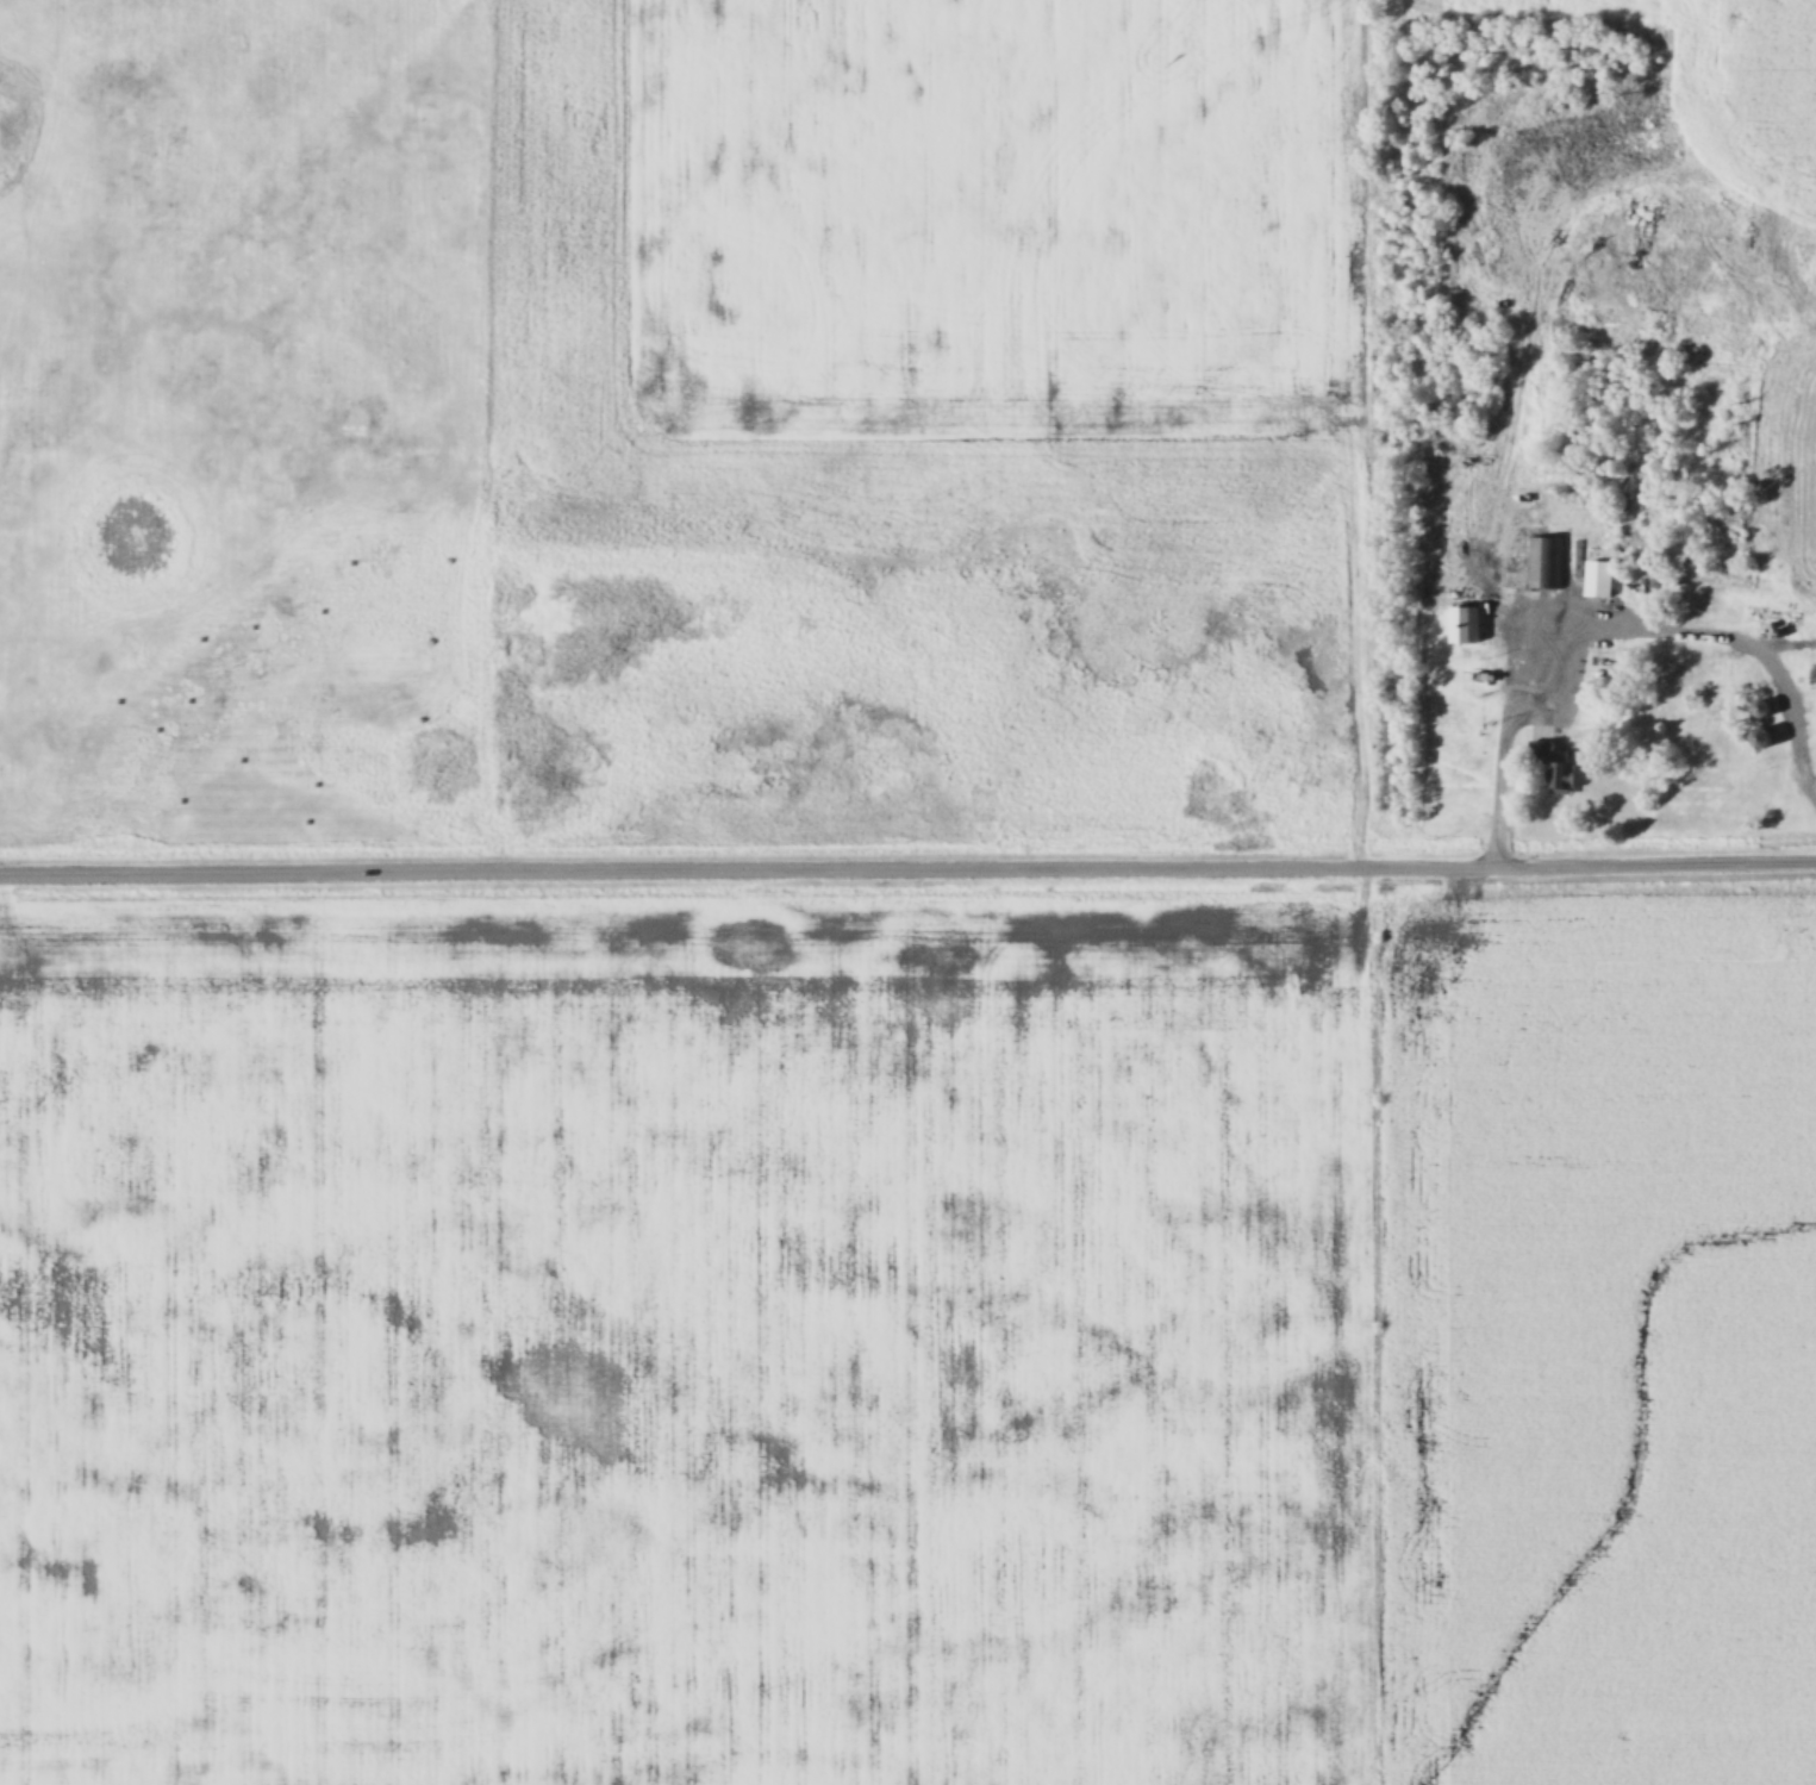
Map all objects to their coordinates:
building: (1540, 563)
building: (1596, 580)
road: (1610, 612)
building: (1464, 628)
building: (1810, 674)
building: (1758, 710)
building: (1756, 739)
building: (1550, 769)
road: (907, 855)

